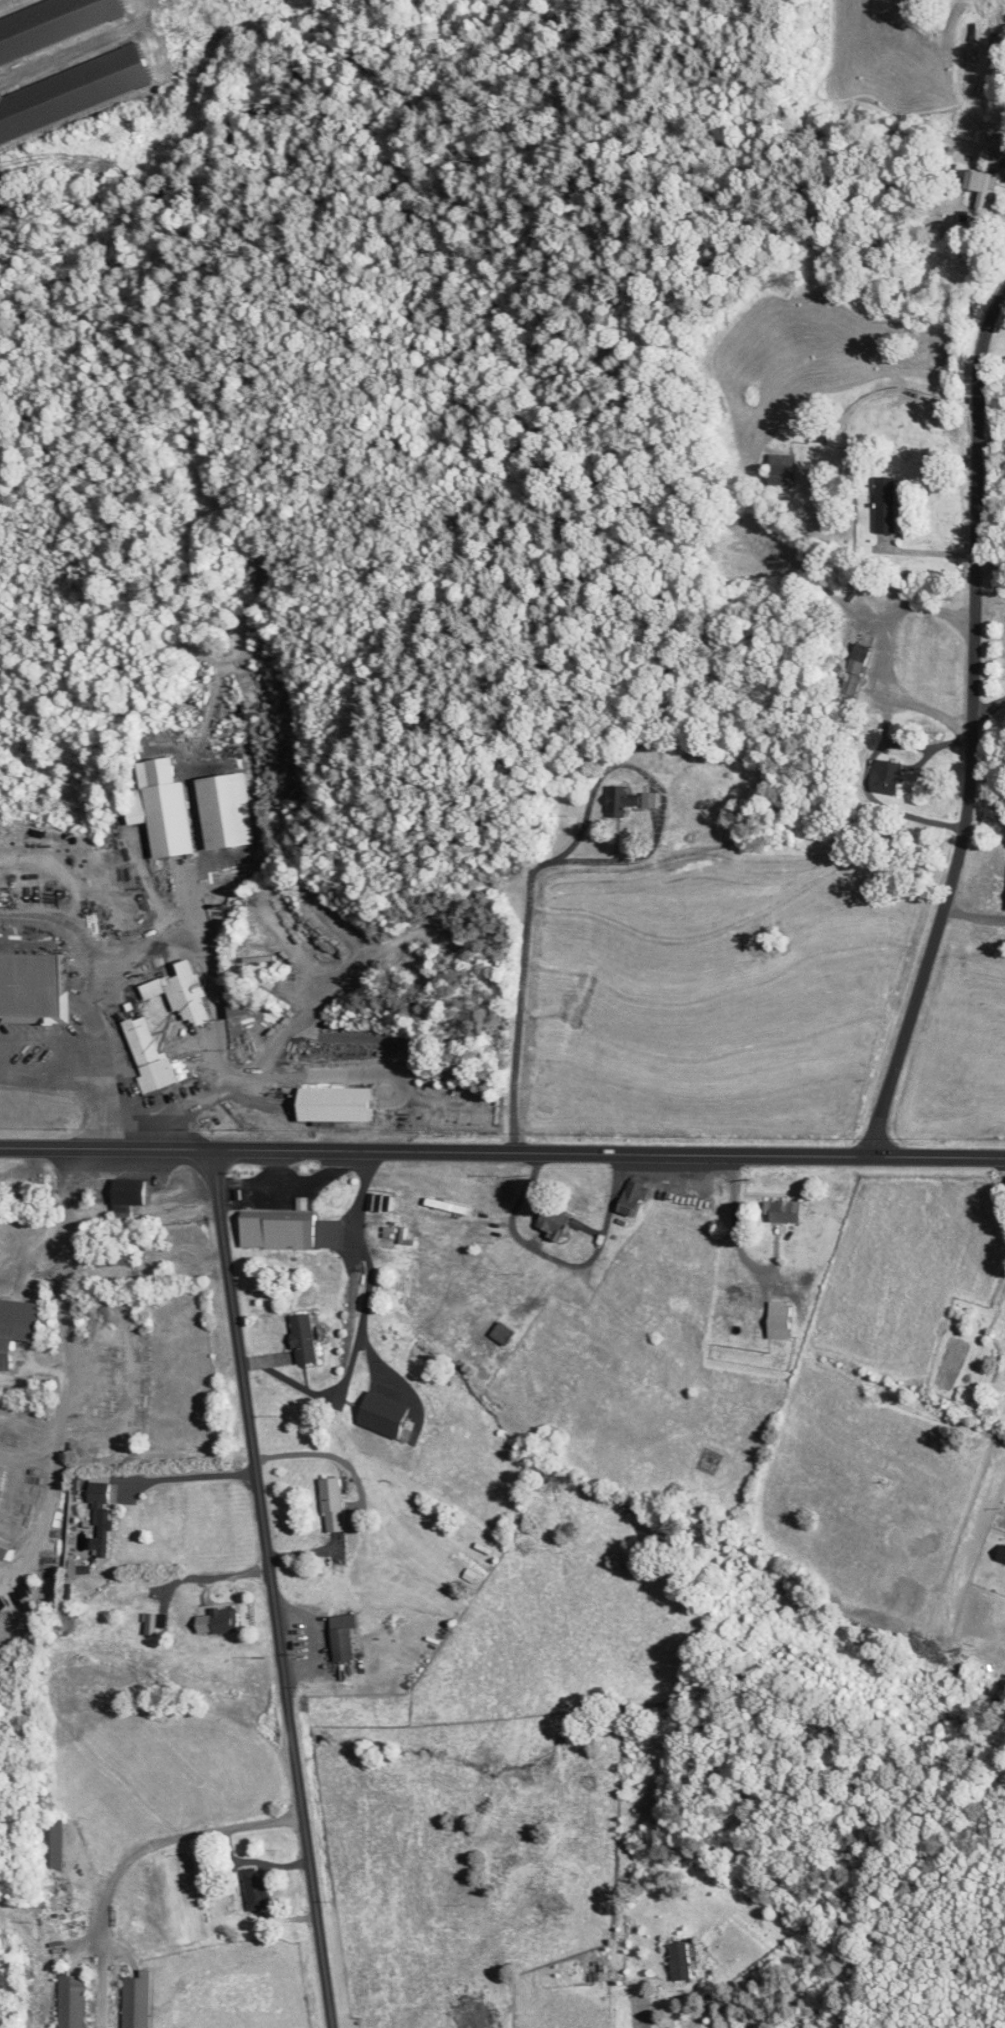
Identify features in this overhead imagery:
building: (61, 27)
building: (78, 94)
road: (991, 441)
building: (783, 470)
building: (888, 503)
road: (928, 551)
road: (989, 567)
building: (856, 673)
road: (989, 706)
road: (971, 727)
building: (648, 741)
building: (887, 776)
building: (629, 800)
building: (164, 809)
building: (224, 811)
road: (569, 860)
building: (35, 986)
building: (181, 991)
building: (239, 1009)
building: (149, 1053)
building: (339, 1103)
road: (502, 1151)
building: (131, 1196)
building: (634, 1198)
building: (378, 1203)
building: (555, 1222)
building: (292, 1230)
building: (129, 1256)
road: (370, 1271)
building: (781, 1319)
building: (19, 1328)
building: (502, 1333)
building: (309, 1339)
building: (386, 1416)
building: (705, 1461)
road: (195, 1477)
building: (337, 1505)
building: (102, 1517)
building: (6, 1553)
building: (999, 1554)
road: (271, 1588)
building: (227, 1621)
building: (157, 1625)
building: (348, 1638)
road: (171, 1838)
building: (54, 1844)
building: (68, 1888)
building: (258, 1888)
building: (682, 1962)
building: (72, 2000)
building: (138, 2001)
road: (695, 2024)

